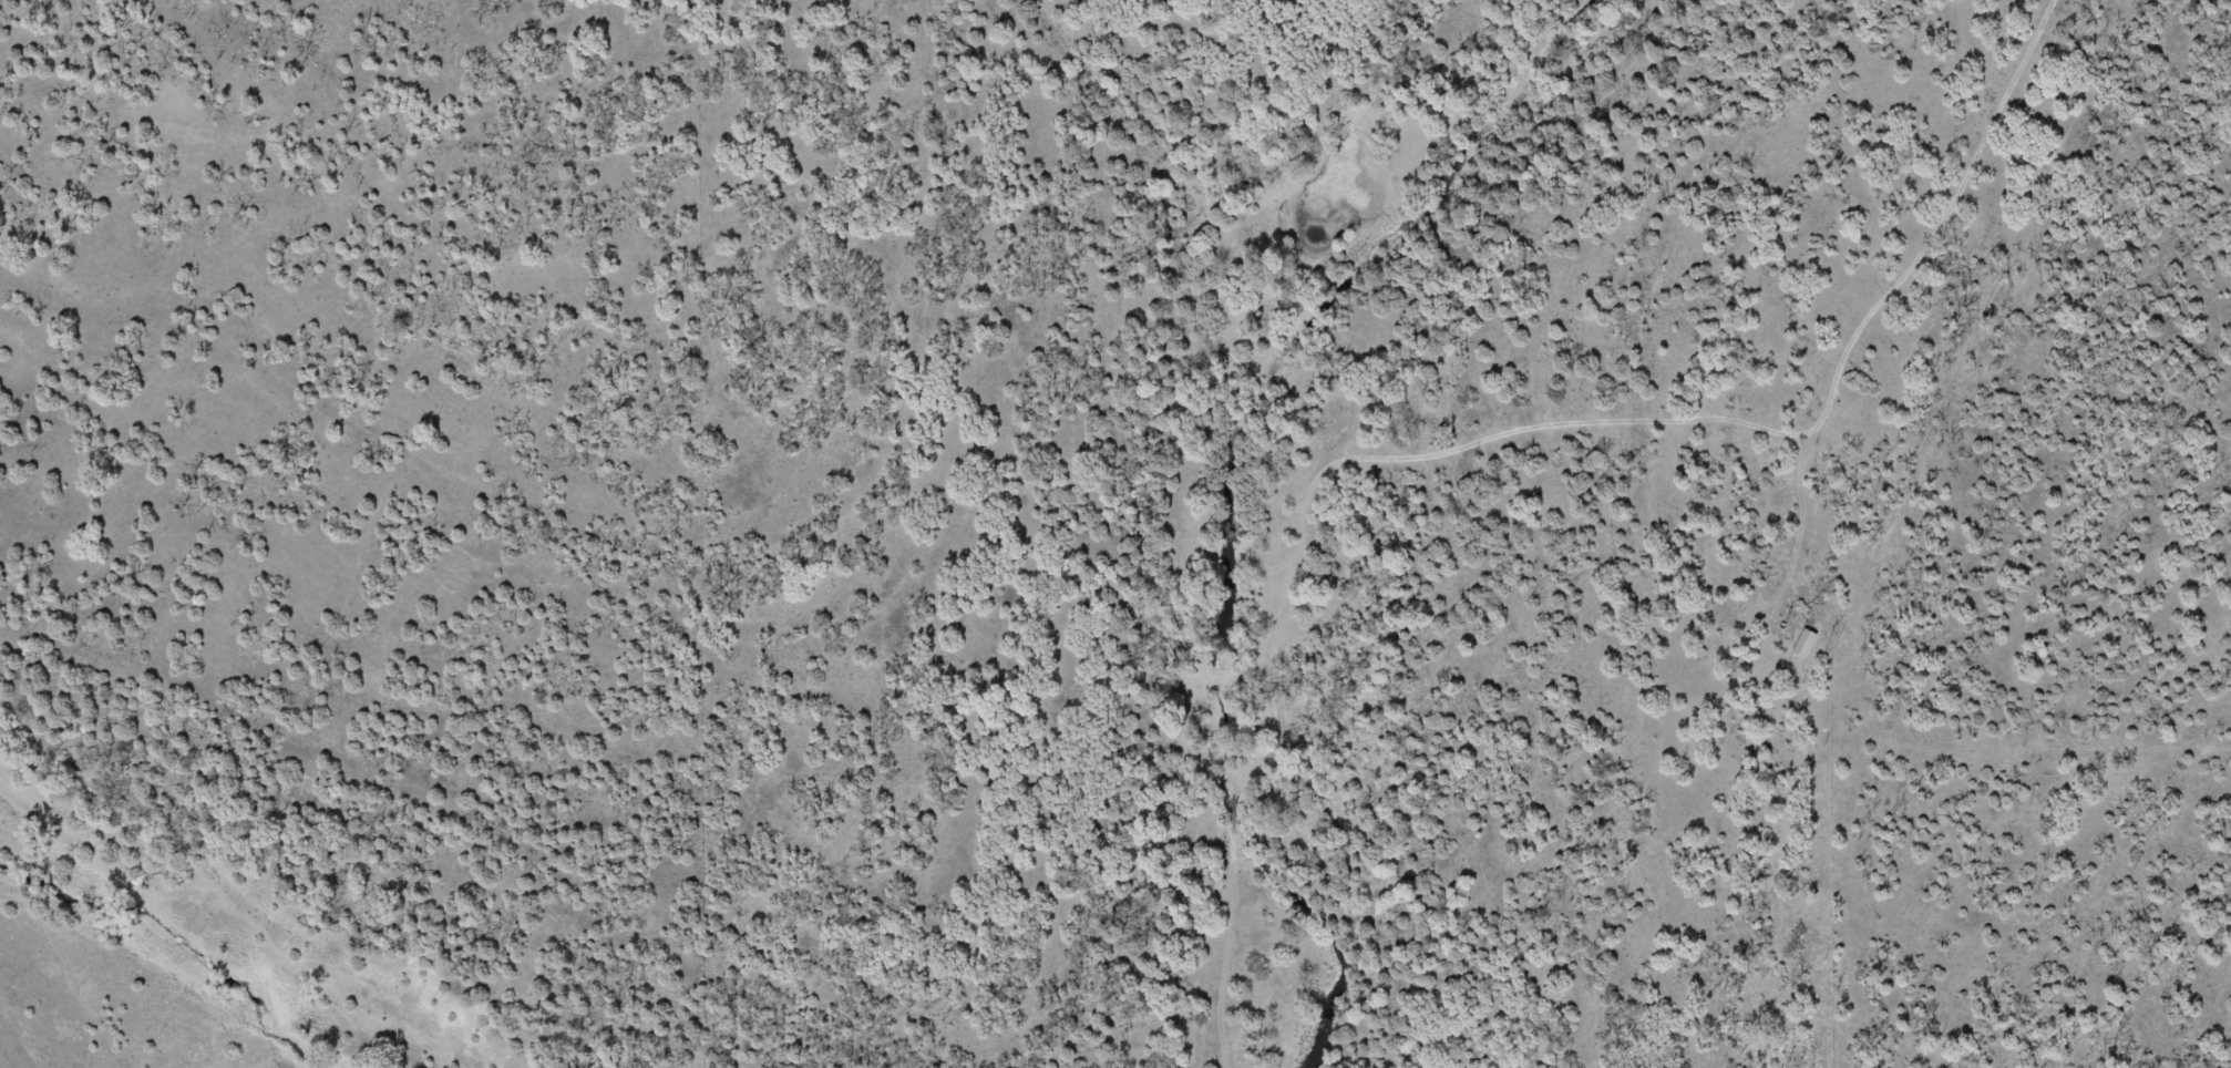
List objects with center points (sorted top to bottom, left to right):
road: (1837, 400)
building: (1806, 645)
road: (2094, 735)

